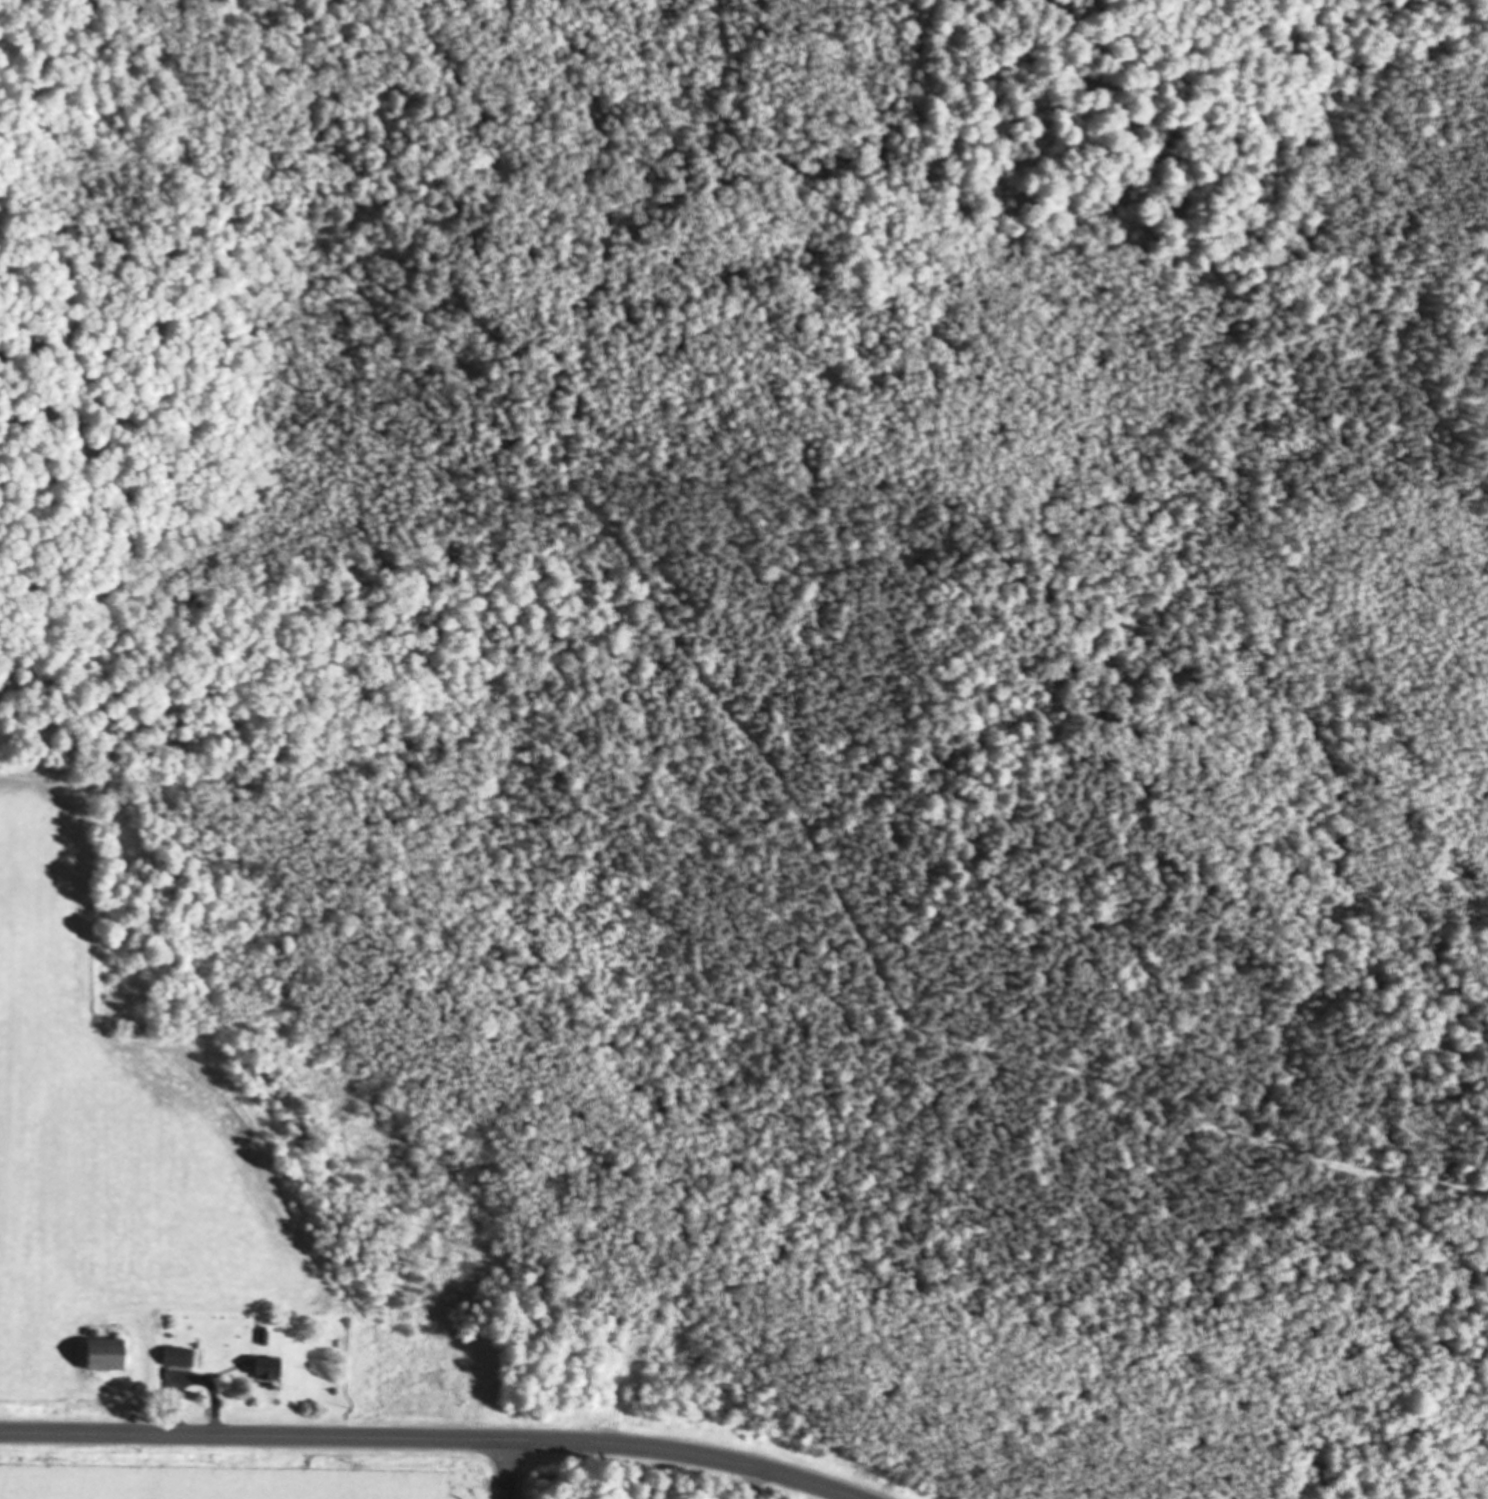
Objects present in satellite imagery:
building: (108, 1356)
building: (178, 1358)
building: (270, 1370)
road: (432, 1438)
road: (507, 1469)

